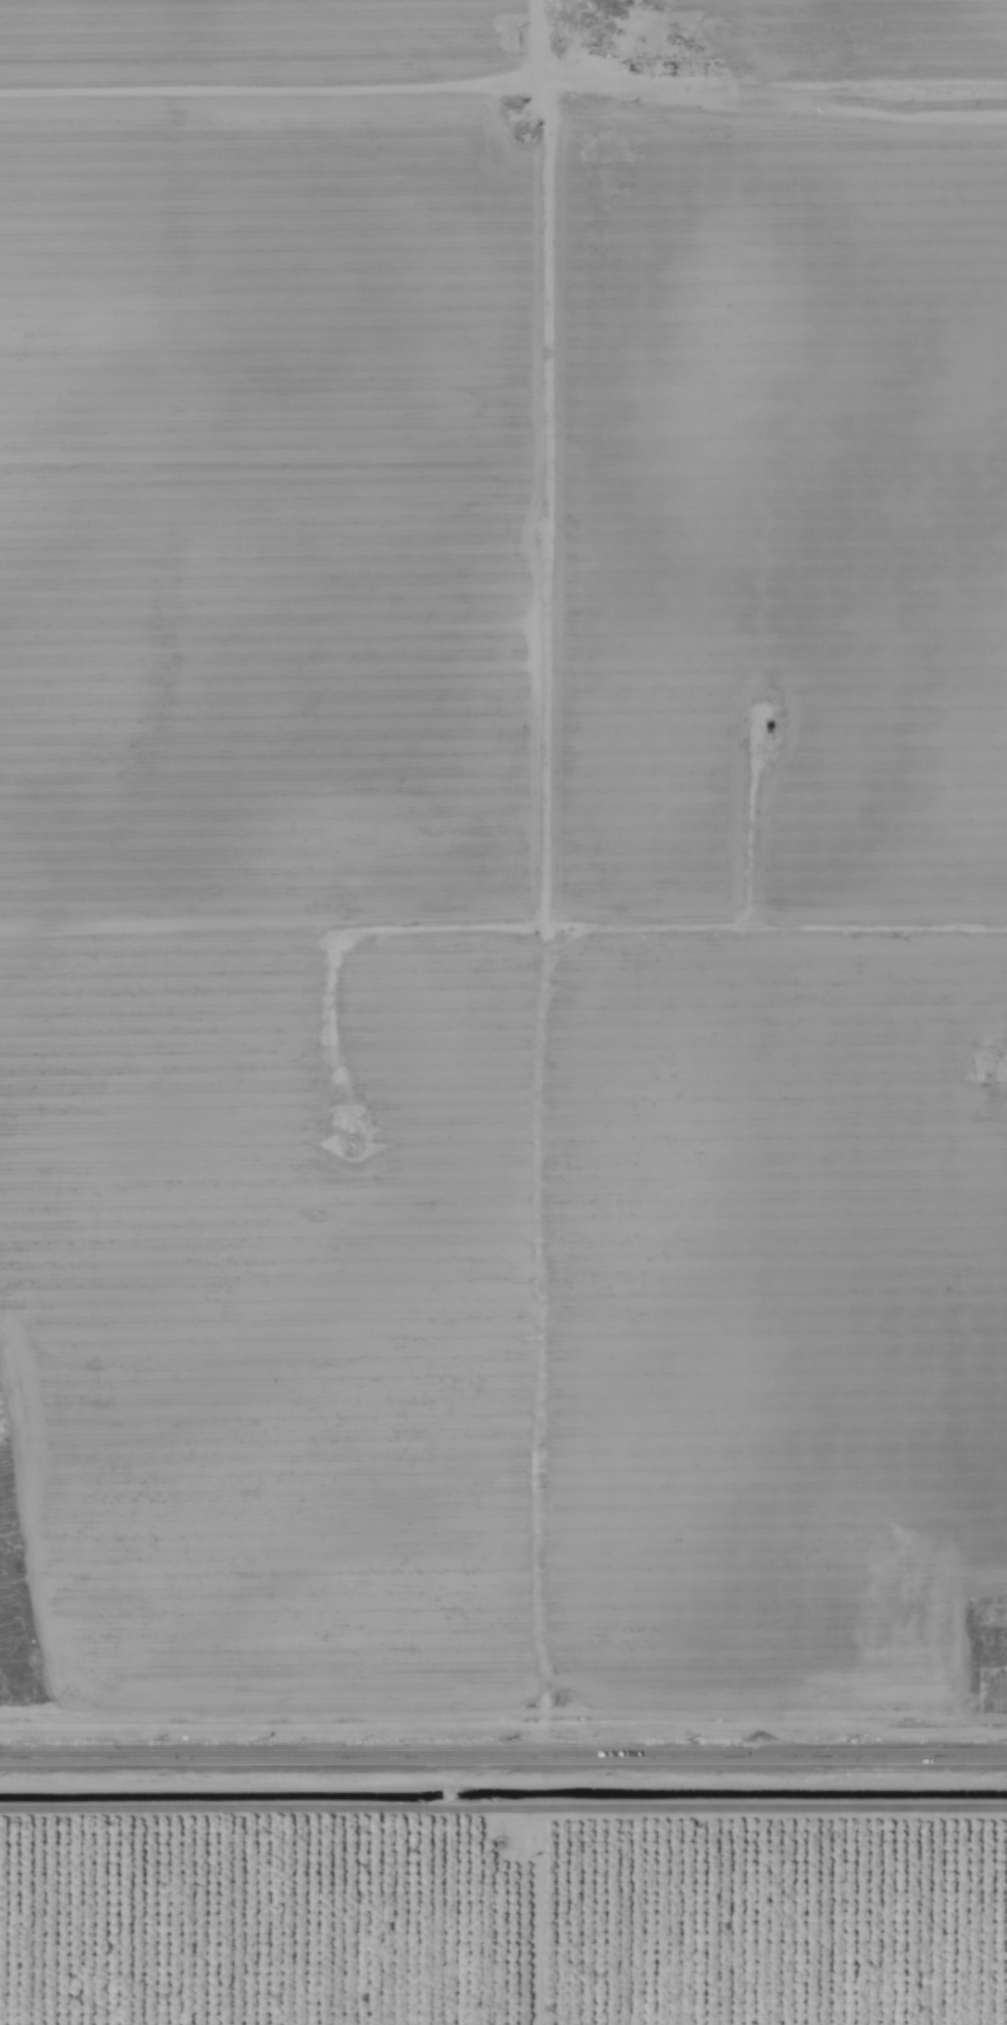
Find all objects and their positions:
road: (503, 1757)

